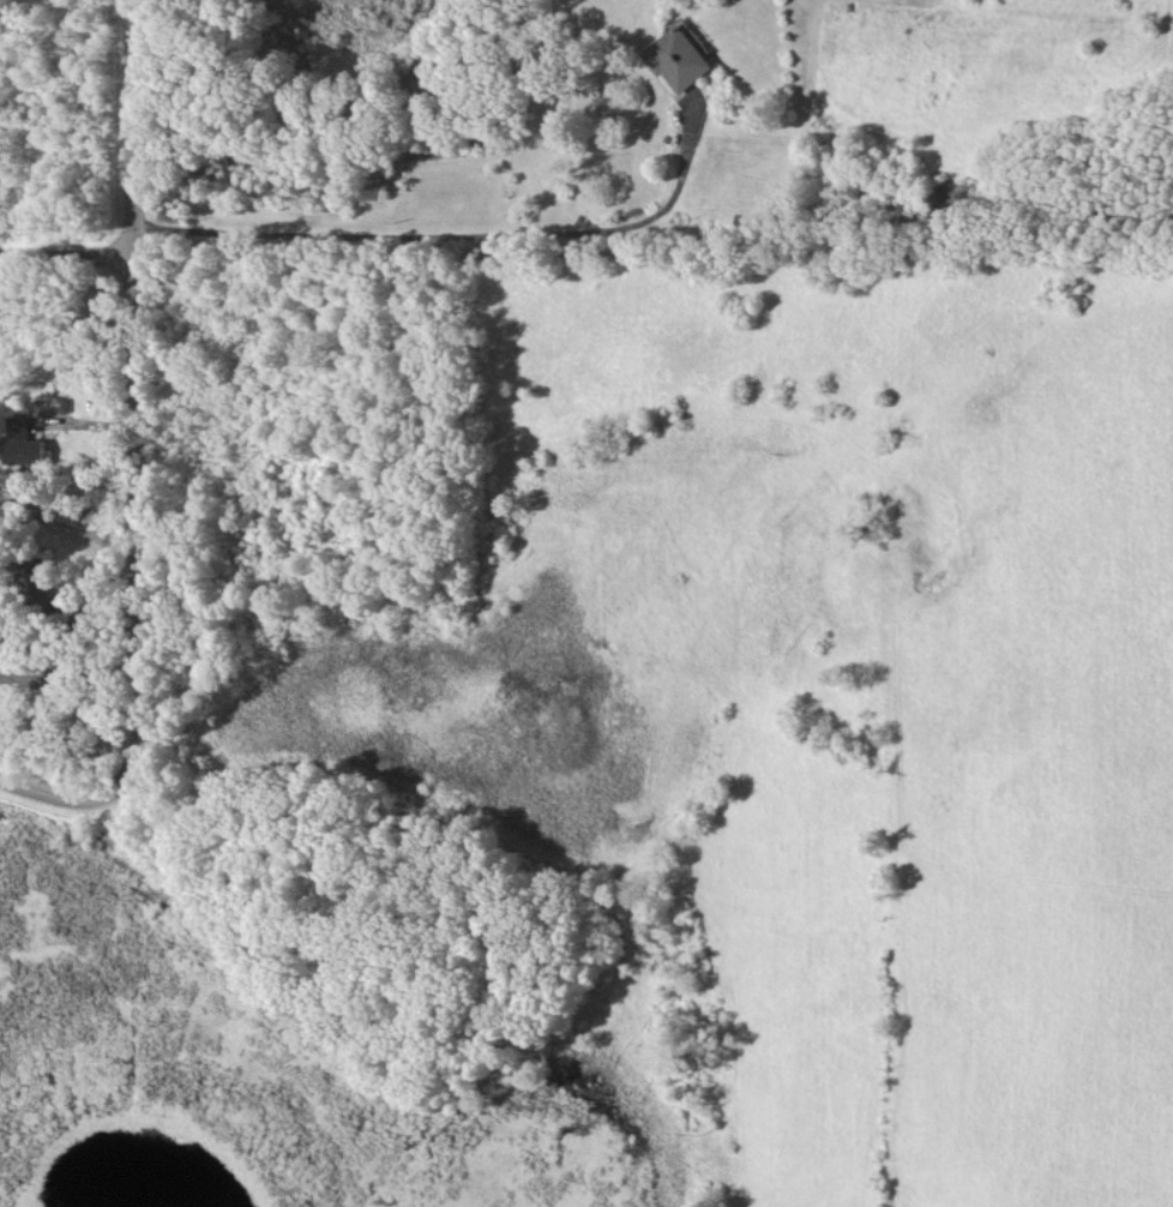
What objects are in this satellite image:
building: (680, 58)
road: (447, 224)
road: (64, 257)
building: (24, 442)
road: (130, 461)
building: (25, 677)

